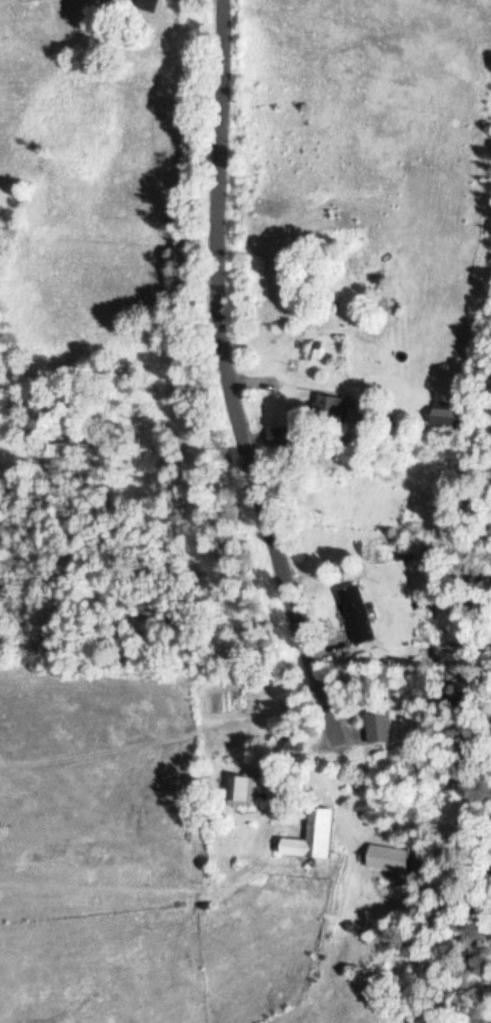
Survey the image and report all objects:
building: (149, 4)
road: (229, 374)
building: (335, 405)
building: (453, 416)
building: (283, 435)
building: (360, 615)
building: (382, 726)
building: (293, 740)
building: (311, 836)
building: (390, 858)

